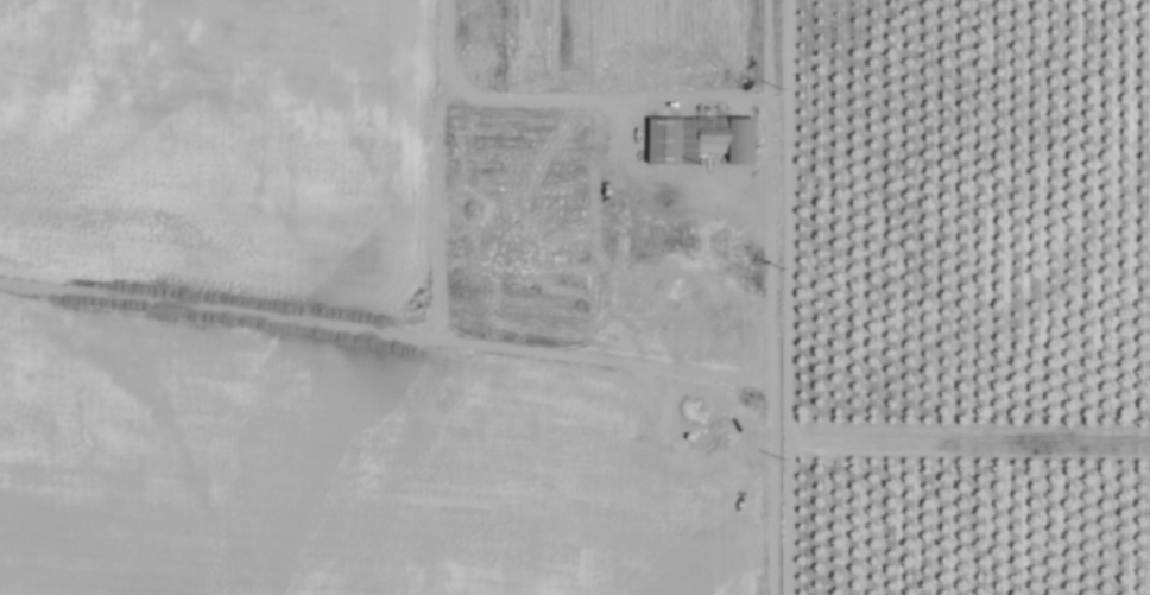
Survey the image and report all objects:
road: (531, 99)
building: (703, 140)
crop: (575, 297)

